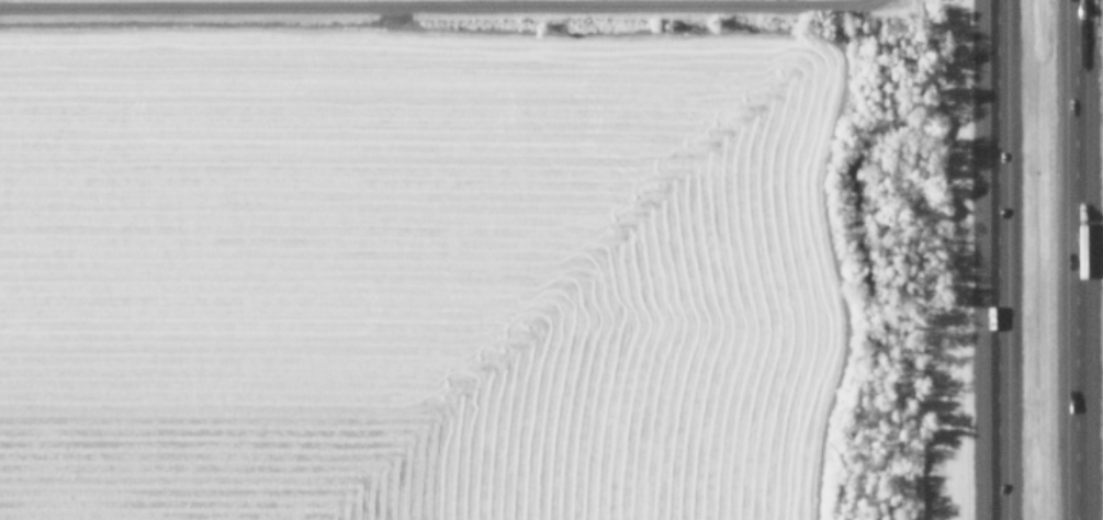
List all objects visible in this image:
road: (111, 1)
crop: (447, 260)
road: (998, 260)
road: (1071, 260)

